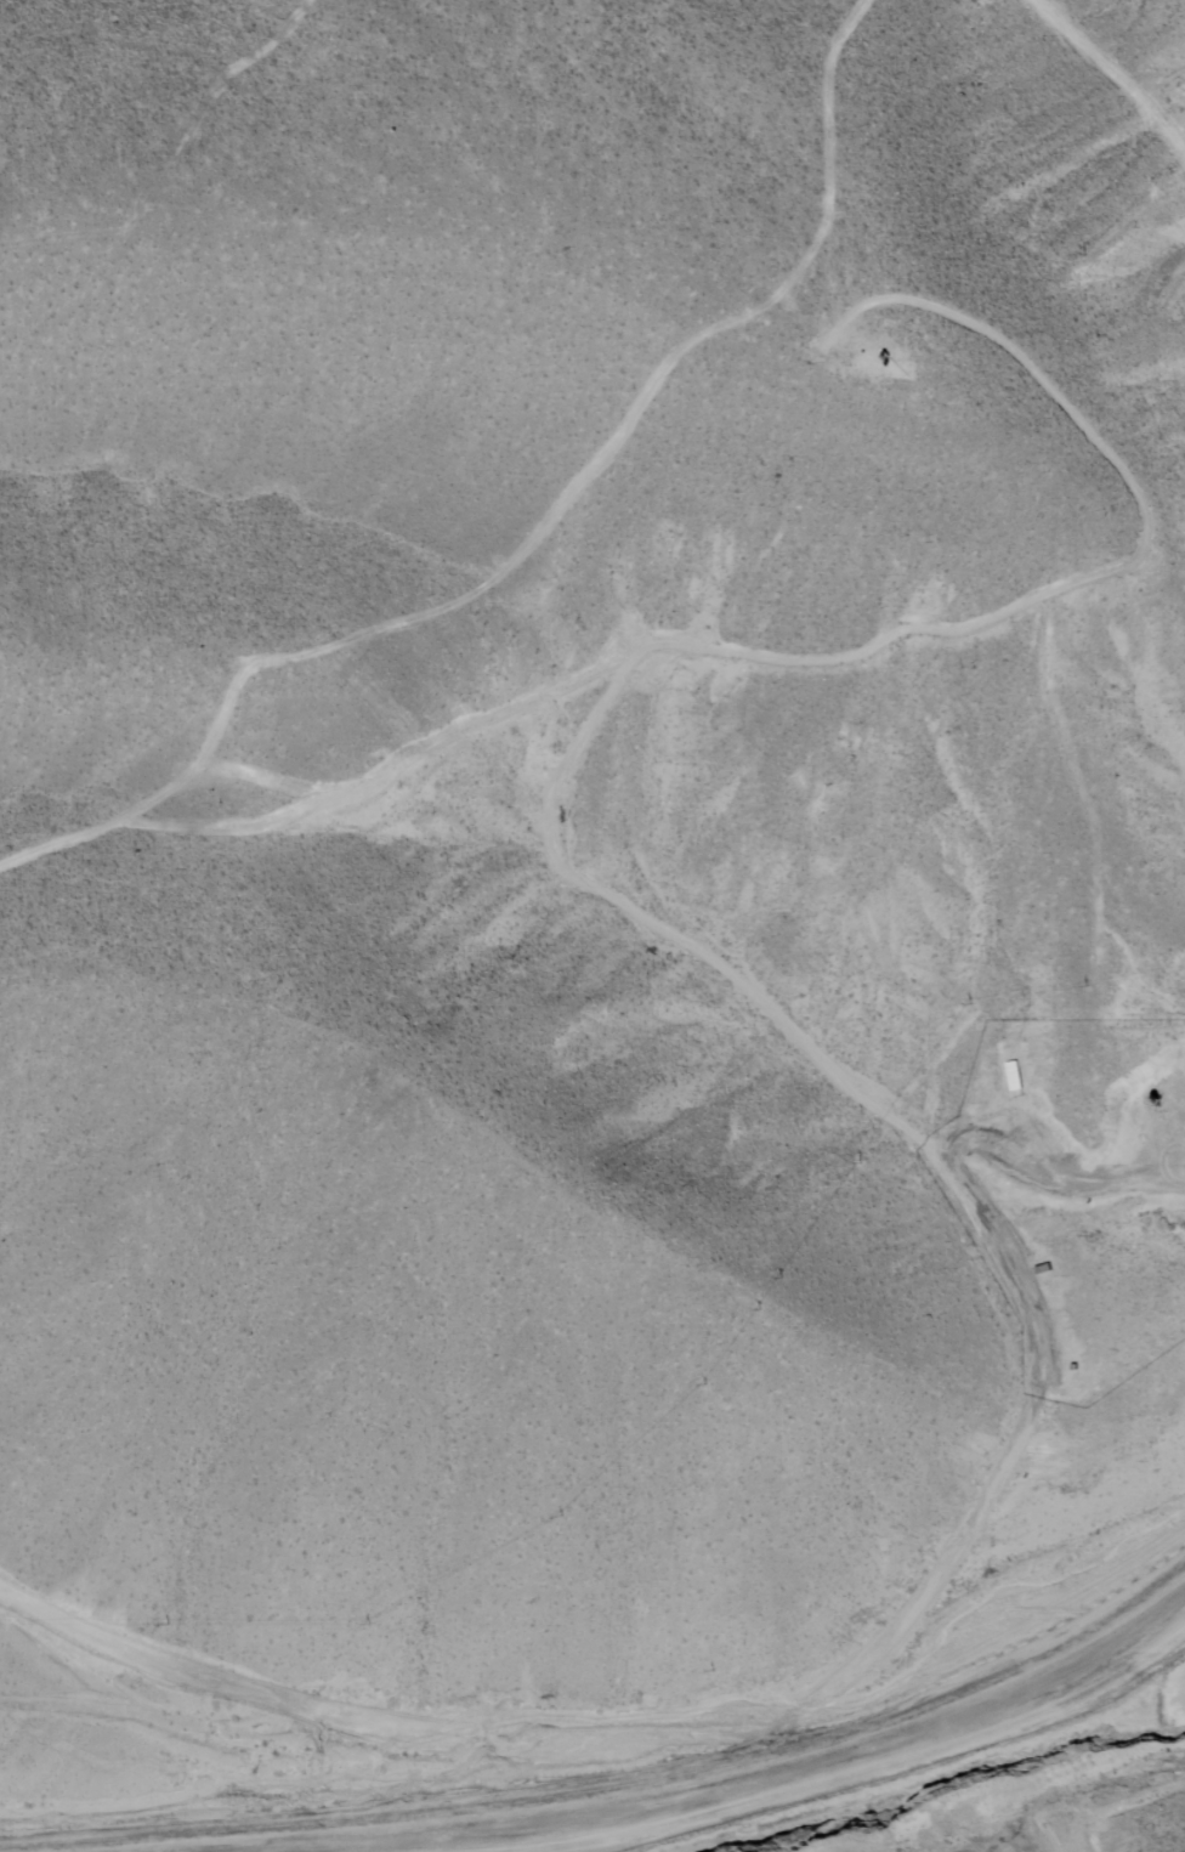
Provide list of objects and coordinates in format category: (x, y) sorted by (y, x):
road: (1033, 1370)
road: (786, 1772)

